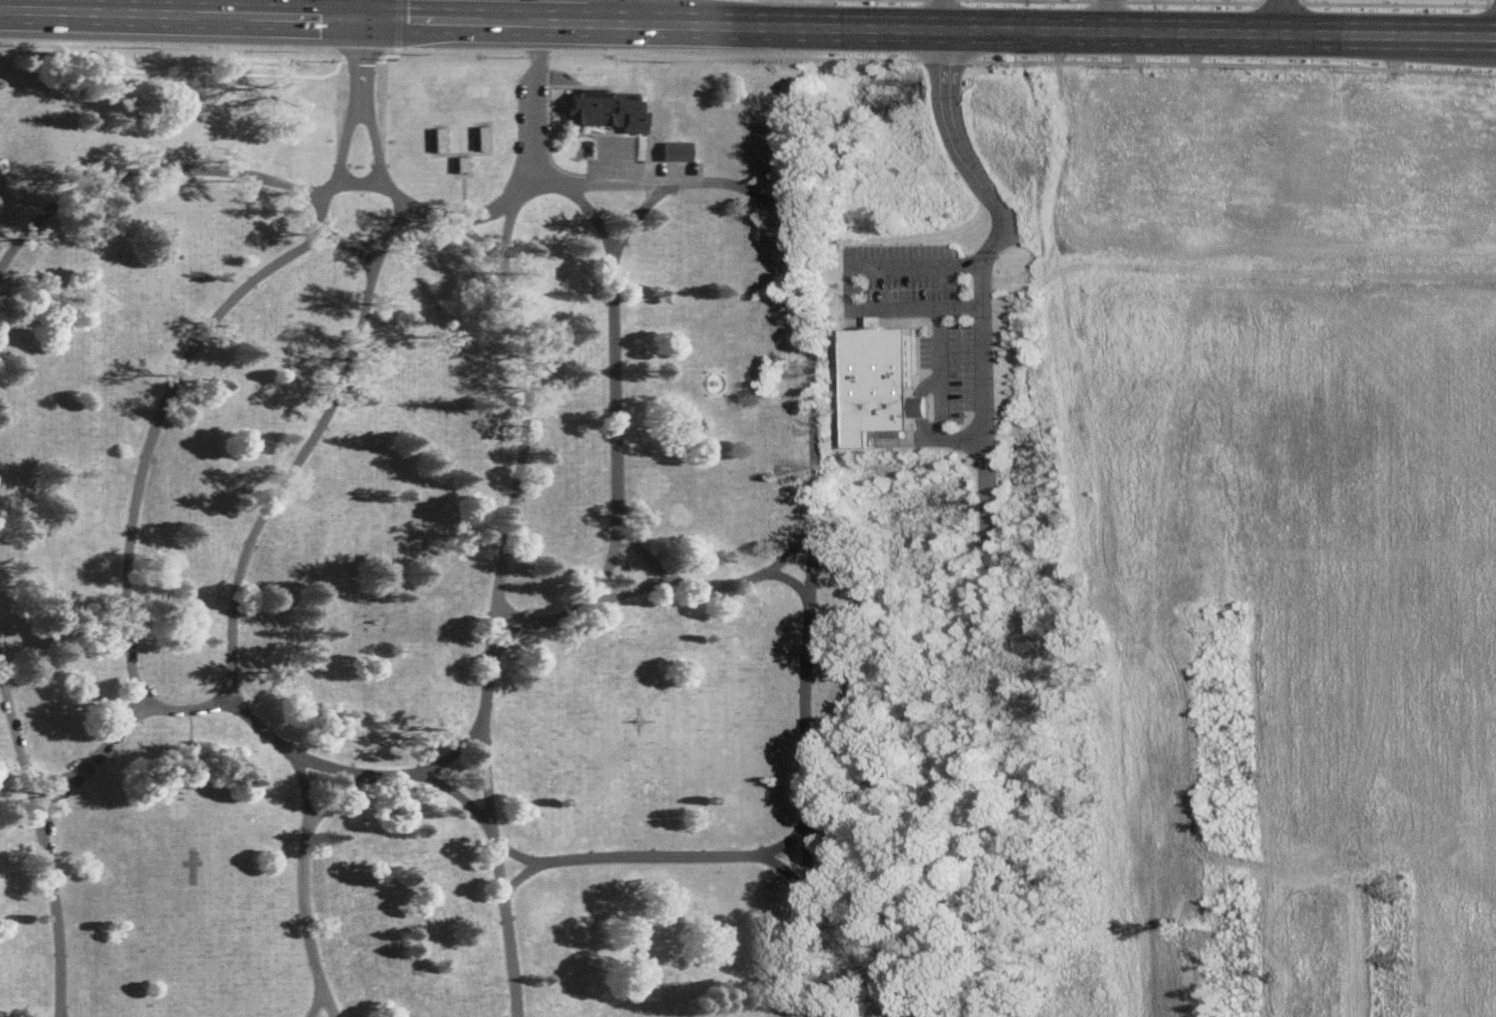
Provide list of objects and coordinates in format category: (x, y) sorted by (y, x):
road: (1066, 0)
road: (1196, 2)
road: (1390, 4)
road: (357, 10)
road: (641, 13)
road: (943, 15)
road: (179, 16)
road: (1108, 16)
road: (1285, 17)
traffic signals: (358, 20)
road: (601, 26)
road: (1170, 32)
road: (936, 59)
building: (1220, 96)
road: (533, 101)
road: (340, 102)
building: (601, 109)
building: (1102, 114)
building: (1407, 121)
building: (479, 140)
building: (435, 144)
building: (674, 152)
building: (458, 166)
road: (175, 172)
parking lot: (639, 174)
road: (612, 181)
road: (382, 188)
road: (651, 194)
building: (1383, 206)
road: (999, 208)
building: (1190, 214)
building: (1462, 232)
road: (359, 246)
road: (917, 301)
parking lot: (935, 345)
building: (874, 381)
building: (918, 408)
road: (522, 420)
road: (813, 422)
road: (610, 424)
road: (957, 435)
road: (138, 473)
road: (987, 475)
park: (416, 538)
road: (791, 551)
road: (644, 554)
road: (560, 617)
road: (226, 639)
road: (459, 744)
road: (86, 757)
road: (302, 778)
road: (785, 835)
road: (43, 842)
road: (805, 844)
road: (717, 854)
road: (300, 887)
road: (312, 998)
road: (60, 1009)

